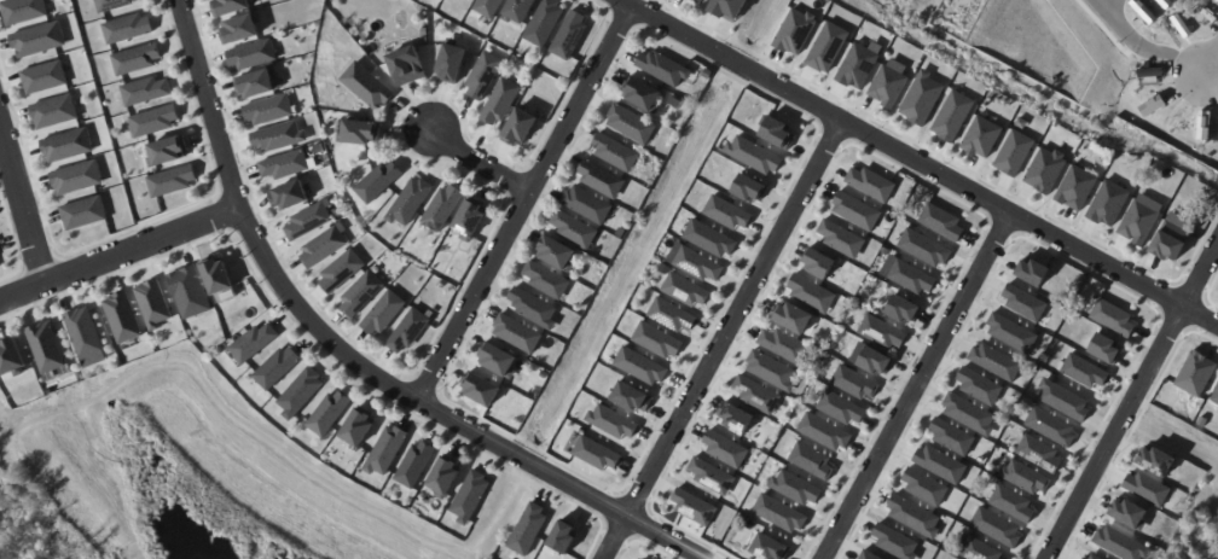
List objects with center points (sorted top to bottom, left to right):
building: (697, 1)
road: (1103, 2)
building: (110, 4)
building: (230, 6)
building: (491, 8)
building: (21, 10)
building: (522, 10)
building: (733, 10)
building: (546, 24)
building: (126, 27)
building: (238, 27)
building: (794, 30)
building: (569, 33)
building: (36, 39)
building: (826, 46)
road: (1142, 47)
building: (254, 56)
building: (135, 57)
building: (452, 58)
road: (1211, 62)
building: (407, 63)
building: (857, 64)
building: (666, 70)
building: (482, 75)
building: (42, 76)
building: (254, 82)
road: (1211, 82)
building: (367, 85)
building: (887, 85)
building: (144, 89)
building: (645, 97)
building: (921, 97)
building: (499, 100)
building: (52, 110)
building: (269, 111)
building: (951, 115)
building: (152, 121)
building: (520, 124)
building: (633, 126)
building: (361, 130)
building: (776, 132)
building: (981, 135)
building: (279, 138)
building: (65, 144)
building: (319, 147)
building: (166, 150)
building: (1013, 152)
building: (617, 155)
building: (754, 155)
road: (922, 161)
road: (480, 162)
building: (286, 165)
building: (1044, 169)
building: (75, 176)
building: (379, 179)
building: (603, 181)
building: (173, 182)
building: (870, 182)
building: (748, 187)
building: (1075, 187)
building: (292, 198)
building: (410, 200)
road: (526, 202)
building: (1107, 203)
road: (23, 206)
building: (442, 206)
building: (588, 206)
building: (854, 210)
building: (82, 211)
building: (727, 212)
building: (469, 217)
building: (1139, 219)
building: (940, 221)
building: (309, 223)
building: (575, 232)
building: (1171, 235)
building: (710, 238)
building: (840, 238)
building: (321, 245)
building: (924, 248)
building: (558, 256)
road: (117, 257)
building: (817, 261)
building: (697, 262)
building: (341, 268)
building: (1031, 270)
building: (216, 274)
building: (912, 276)
building: (549, 281)
building: (441, 286)
building: (685, 289)
building: (188, 290)
building: (810, 291)
building: (360, 292)
building: (152, 302)
building: (1023, 303)
building: (903, 308)
building: (535, 309)
building: (383, 311)
building: (671, 314)
building: (122, 315)
building: (790, 315)
building: (1113, 315)
building: (407, 328)
building: (83, 330)
building: (881, 331)
building: (1010, 332)
building: (518, 336)
road: (719, 337)
building: (657, 339)
building: (255, 342)
building: (45, 344)
building: (782, 344)
building: (1104, 348)
building: (12, 356)
road: (349, 360)
building: (874, 360)
building: (993, 360)
building: (500, 362)
building: (640, 365)
building: (550, 366)
building: (278, 367)
building: (770, 369)
building: (1083, 371)
building: (1196, 372)
building: (854, 382)
road: (911, 383)
building: (979, 385)
building: (482, 391)
building: (302, 392)
building: (756, 392)
building: (1214, 395)
building: (632, 397)
building: (1062, 398)
road: (1130, 402)
building: (841, 407)
building: (330, 413)
building: (968, 413)
building: (736, 415)
building: (613, 421)
building: (1050, 425)
building: (360, 427)
building: (823, 431)
building: (950, 435)
building: (724, 447)
building: (388, 450)
building: (597, 453)
building: (1039, 453)
building: (1158, 459)
building: (811, 460)
building: (939, 462)
building: (416, 465)
building: (712, 474)
building: (1025, 476)
building: (447, 477)
building: (923, 485)
building: (796, 487)
building: (1145, 487)
building: (472, 496)
building: (1013, 503)
building: (692, 505)
building: (1127, 512)
building: (779, 513)
building: (912, 516)
building: (996, 525)
building: (527, 528)
building: (562, 535)
building: (894, 540)
building: (1120, 542)
building: (771, 547)
building: (979, 549)
building: (869, 554)
building: (1090, 555)
building: (639, 558)

